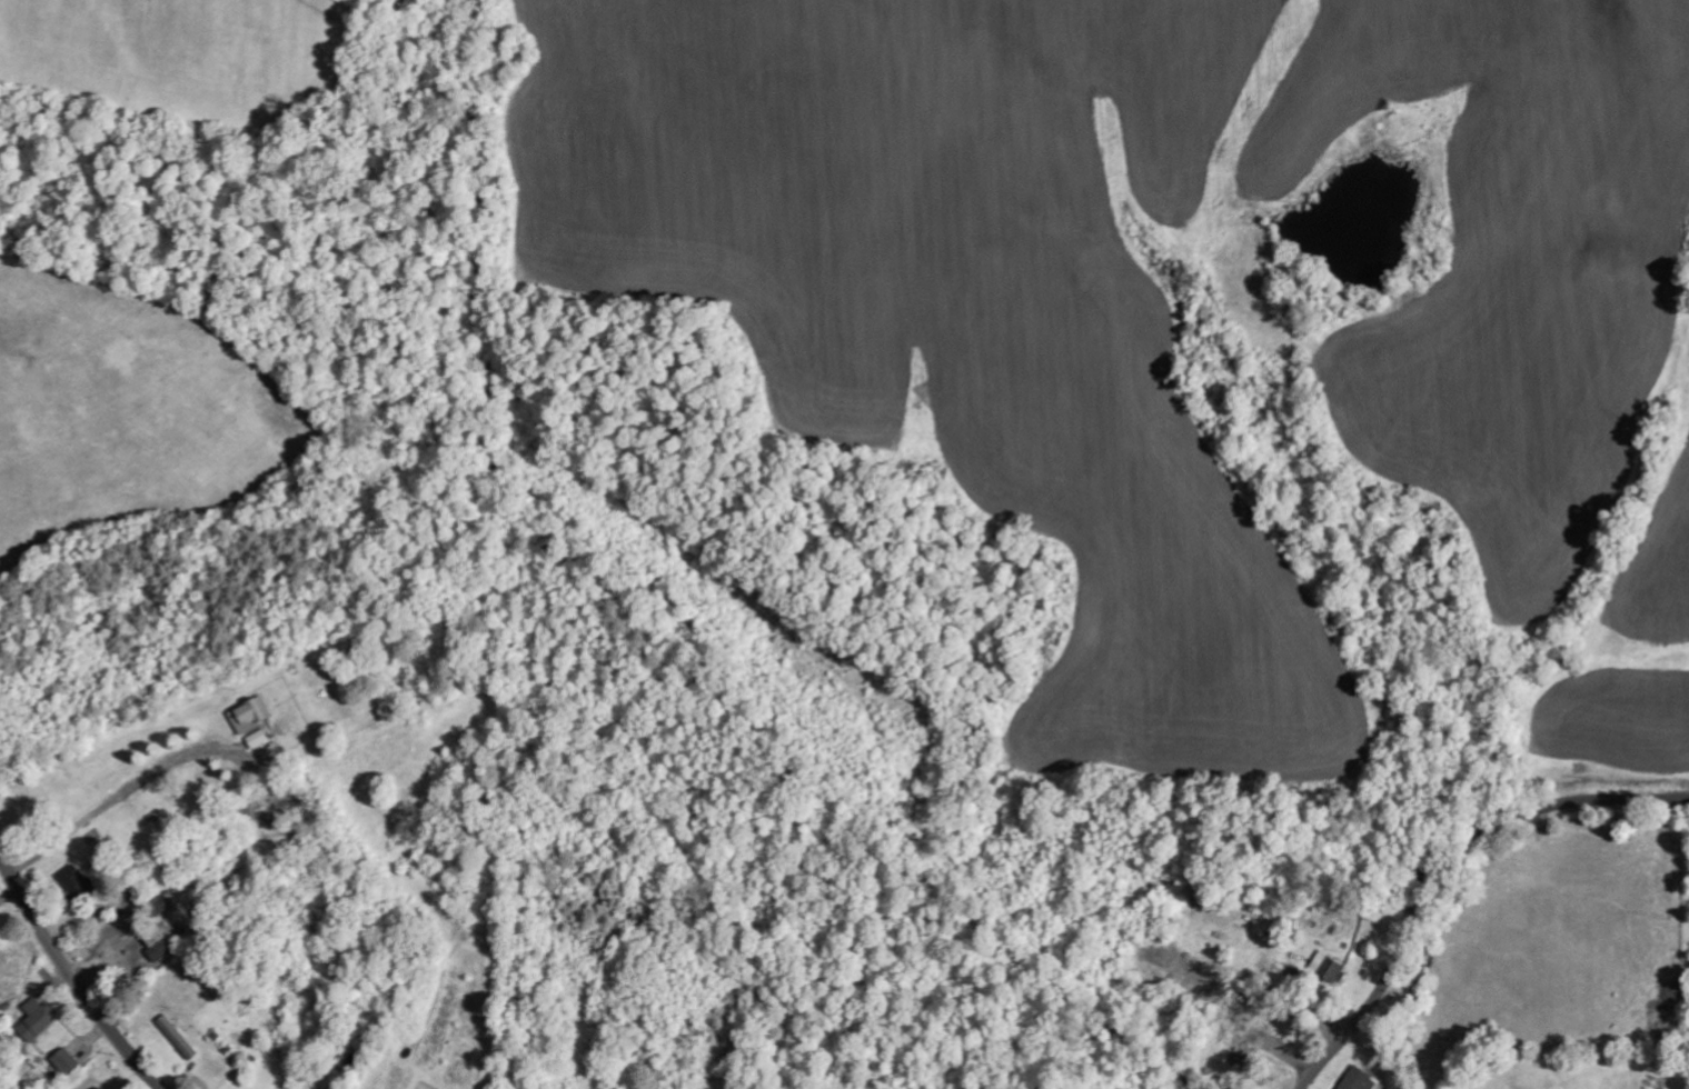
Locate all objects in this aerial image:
crop: (1201, 310)
building: (250, 716)
building: (258, 739)
road: (1435, 861)
building: (74, 882)
building: (158, 949)
building: (1329, 968)
road: (77, 976)
building: (37, 1020)
building: (178, 1036)
building: (1243, 1048)
building: (67, 1061)
building: (1359, 1080)
building: (99, 1088)

